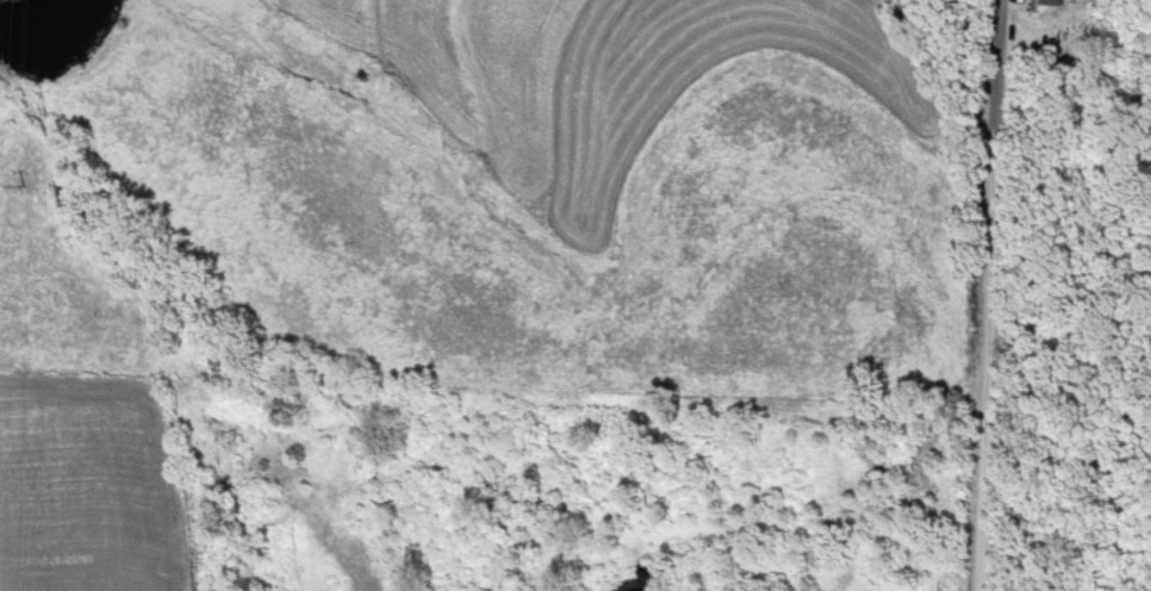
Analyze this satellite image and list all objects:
building: (1047, 2)
road: (991, 295)

